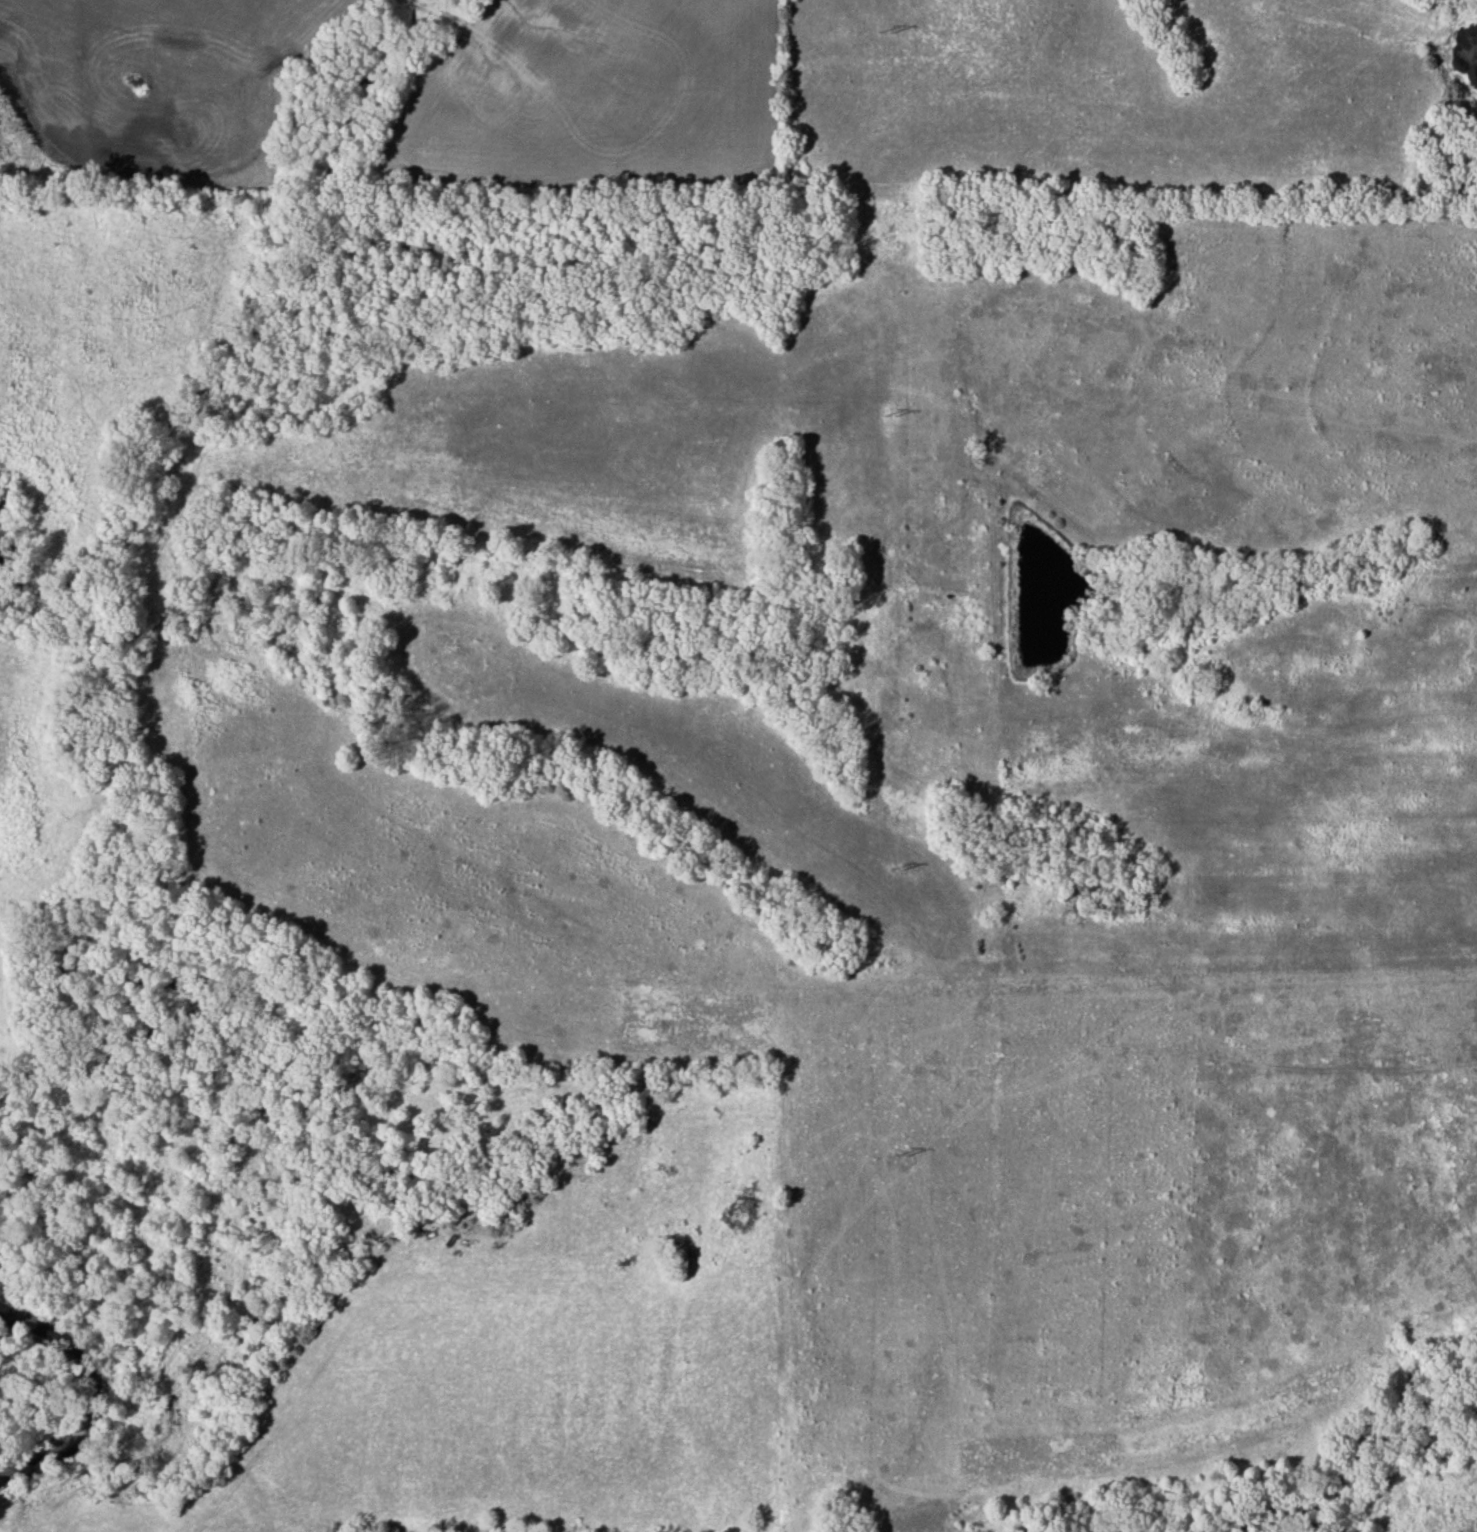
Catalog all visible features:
power tower: (882, 33)
power tower: (887, 418)
power tower: (899, 872)
power tower: (902, 1155)

